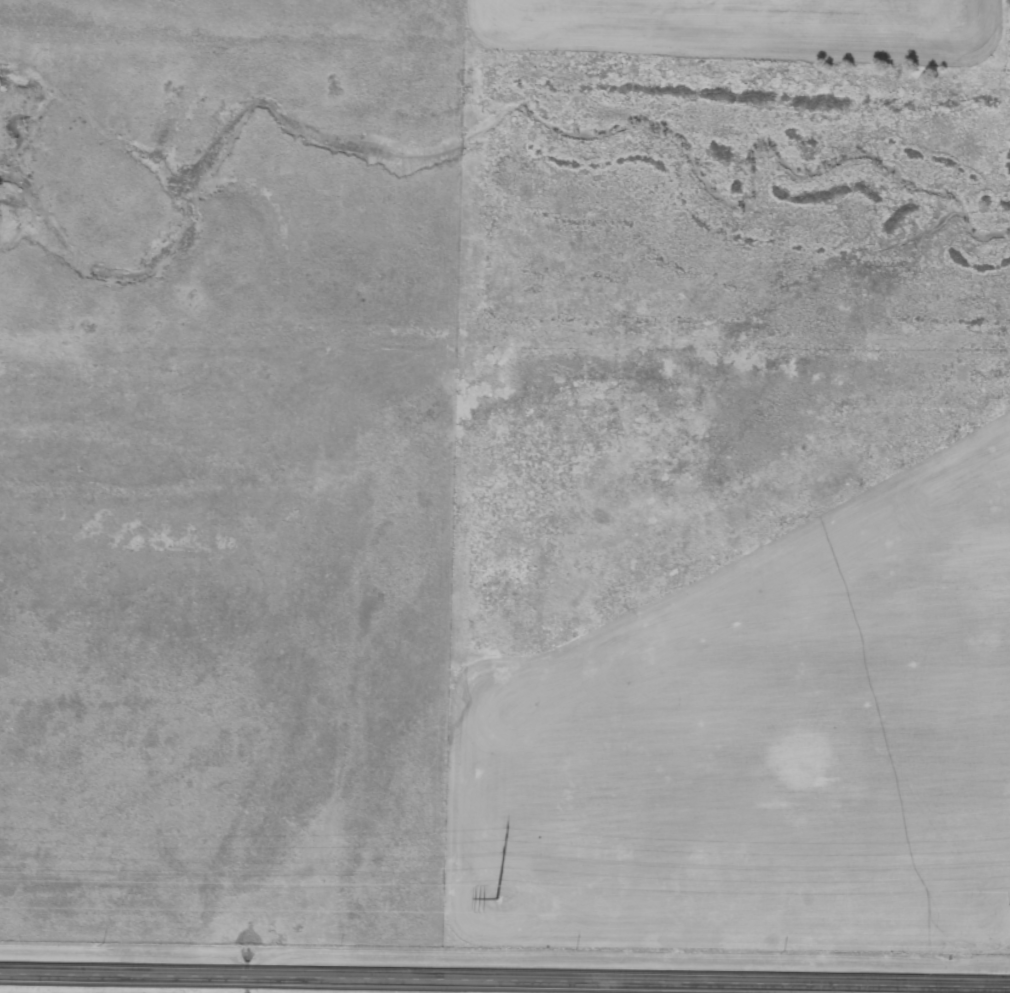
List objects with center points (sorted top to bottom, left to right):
power tower: (496, 899)
road: (505, 981)

